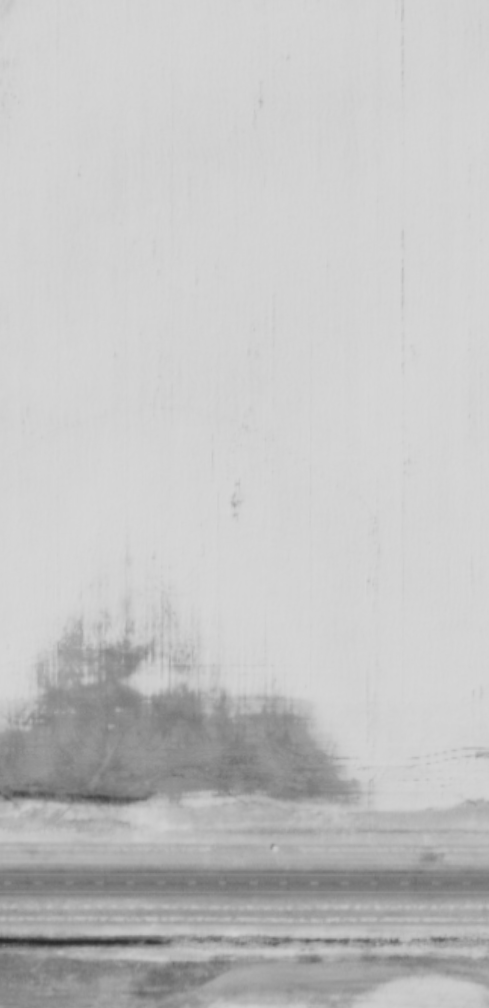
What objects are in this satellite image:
road: (244, 879)

